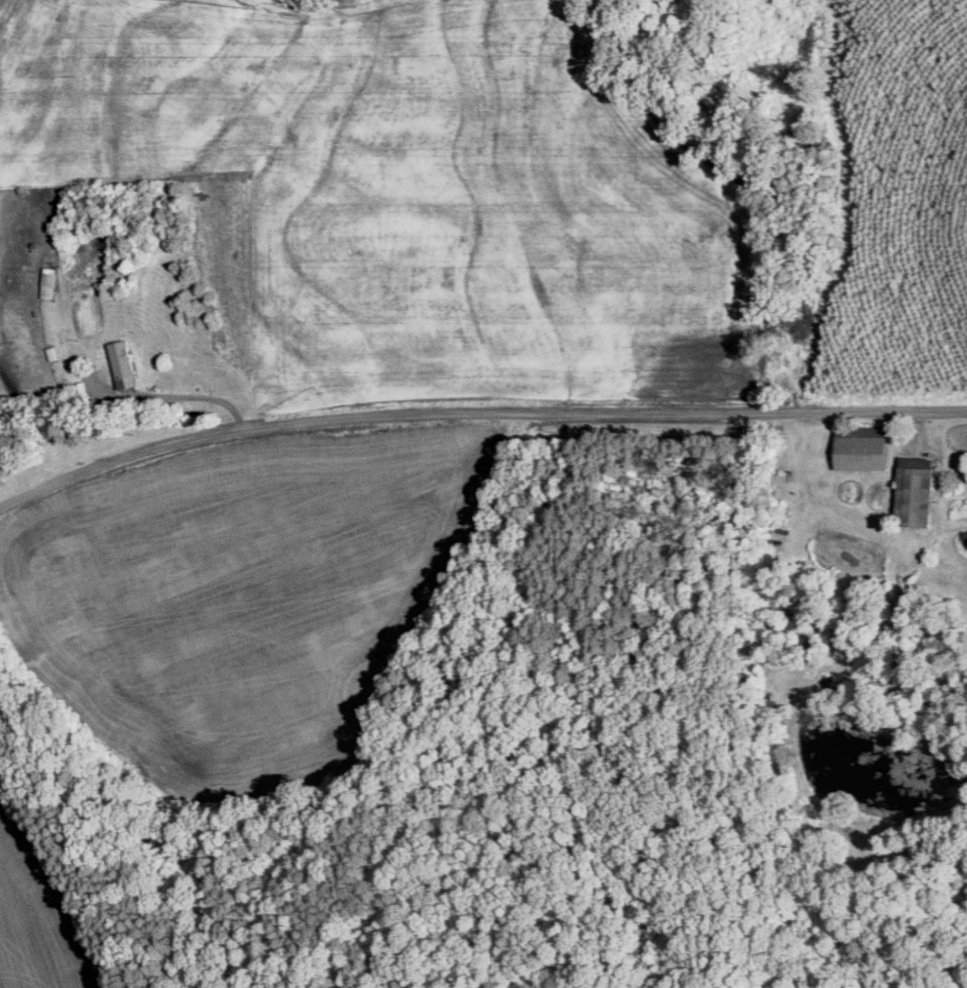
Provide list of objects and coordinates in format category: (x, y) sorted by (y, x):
crop: (403, 194)
crop: (899, 206)
building: (125, 363)
road: (197, 394)
road: (476, 414)
building: (865, 447)
building: (964, 468)
building: (919, 490)
crop: (246, 597)
crop: (41, 908)

